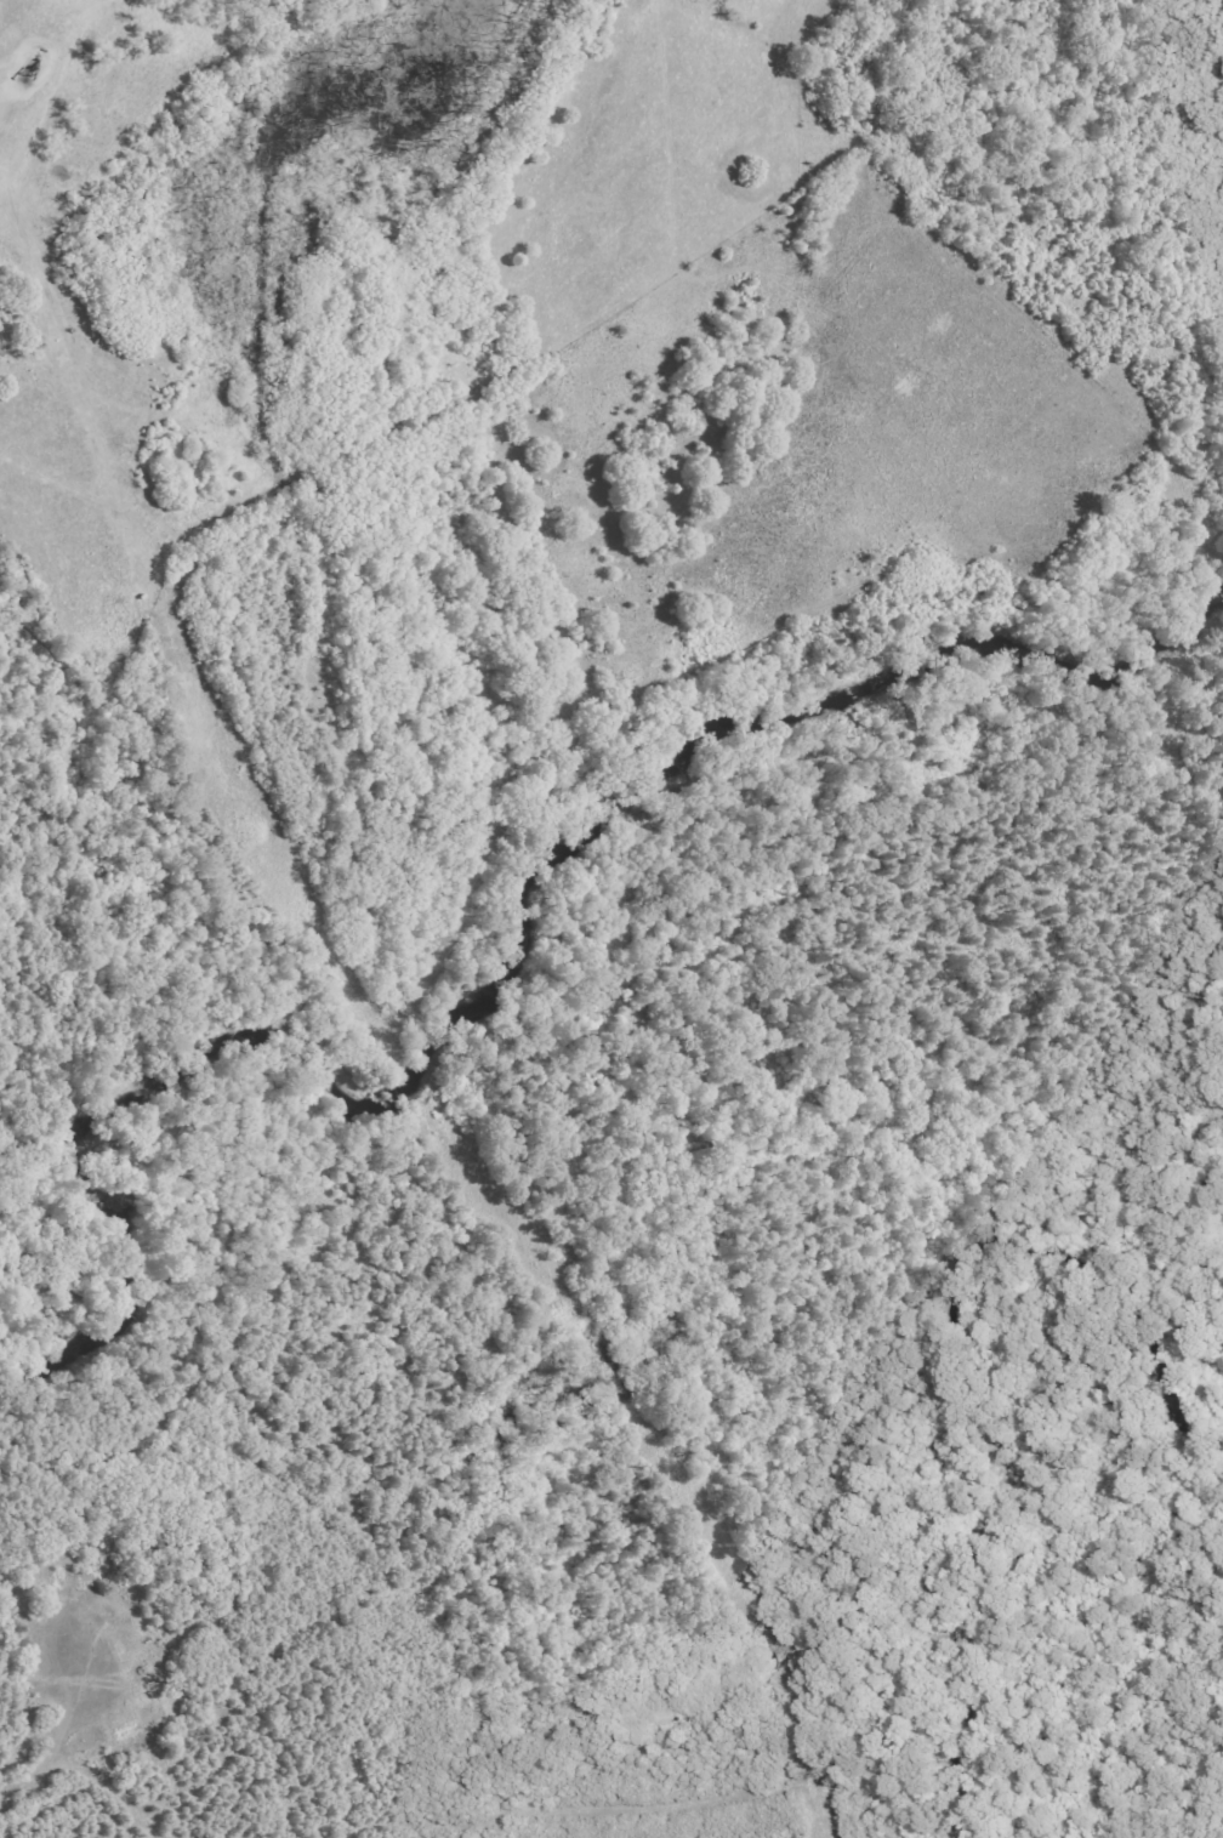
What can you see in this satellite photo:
petroleum well: (29, 67)

